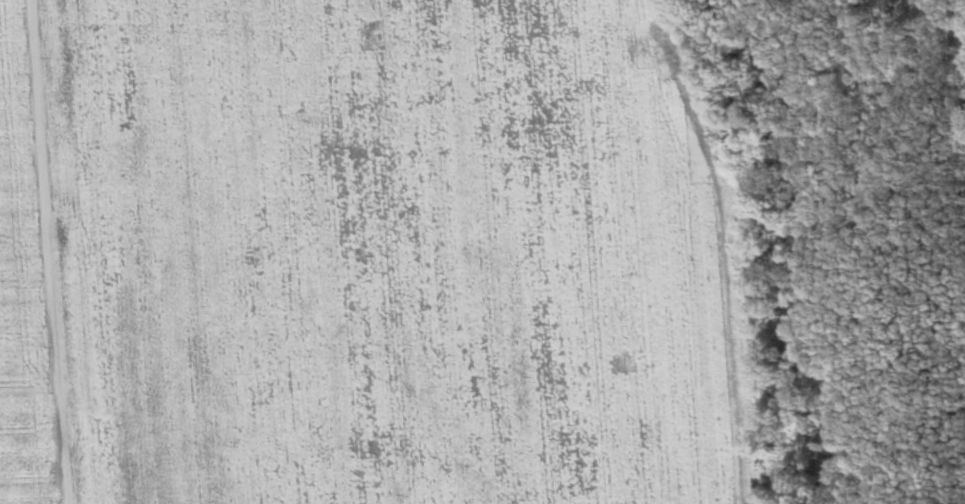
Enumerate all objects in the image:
road: (46, 252)

